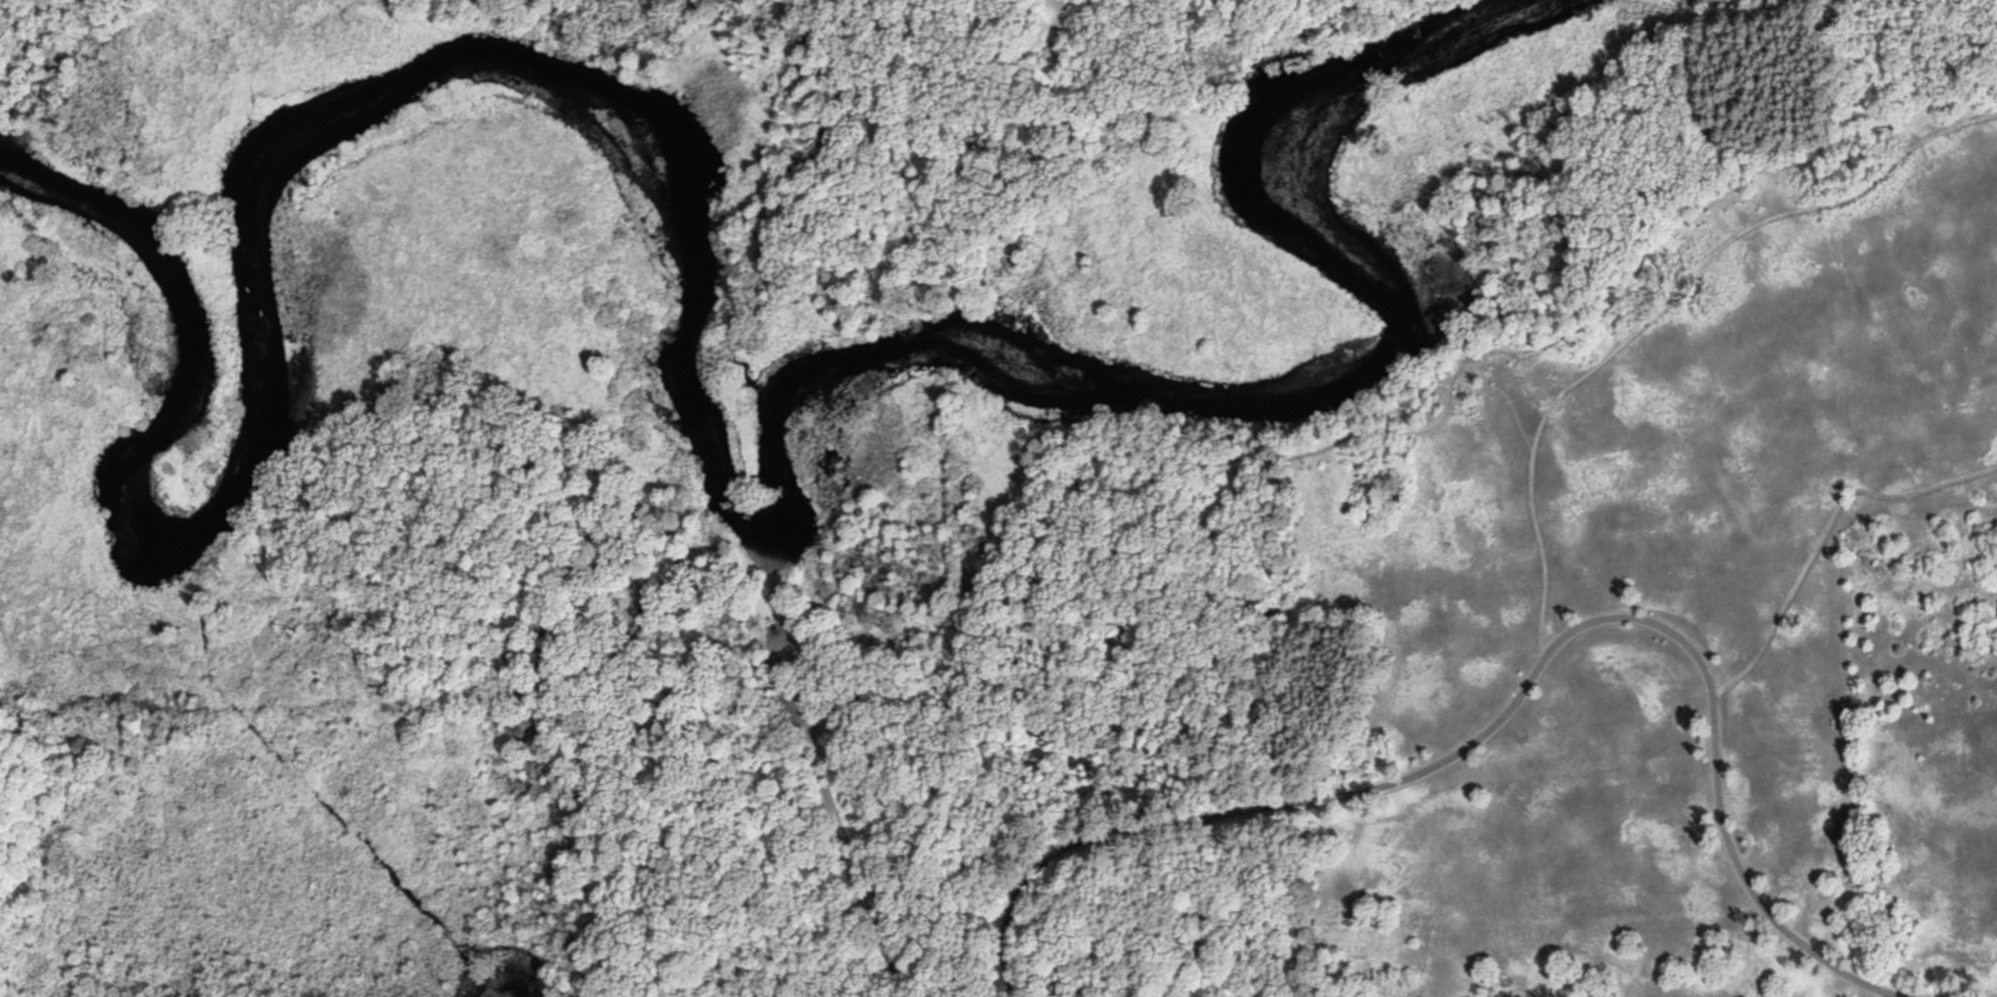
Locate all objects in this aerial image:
road: (1658, 311)
road: (1509, 396)
river: (688, 409)
road: (1151, 463)
park: (998, 498)
road: (1825, 533)
road: (778, 597)
road: (795, 637)
road: (1526, 685)
parking lot: (811, 687)
road: (892, 697)
road: (1511, 722)
road: (1520, 729)
road: (859, 885)

